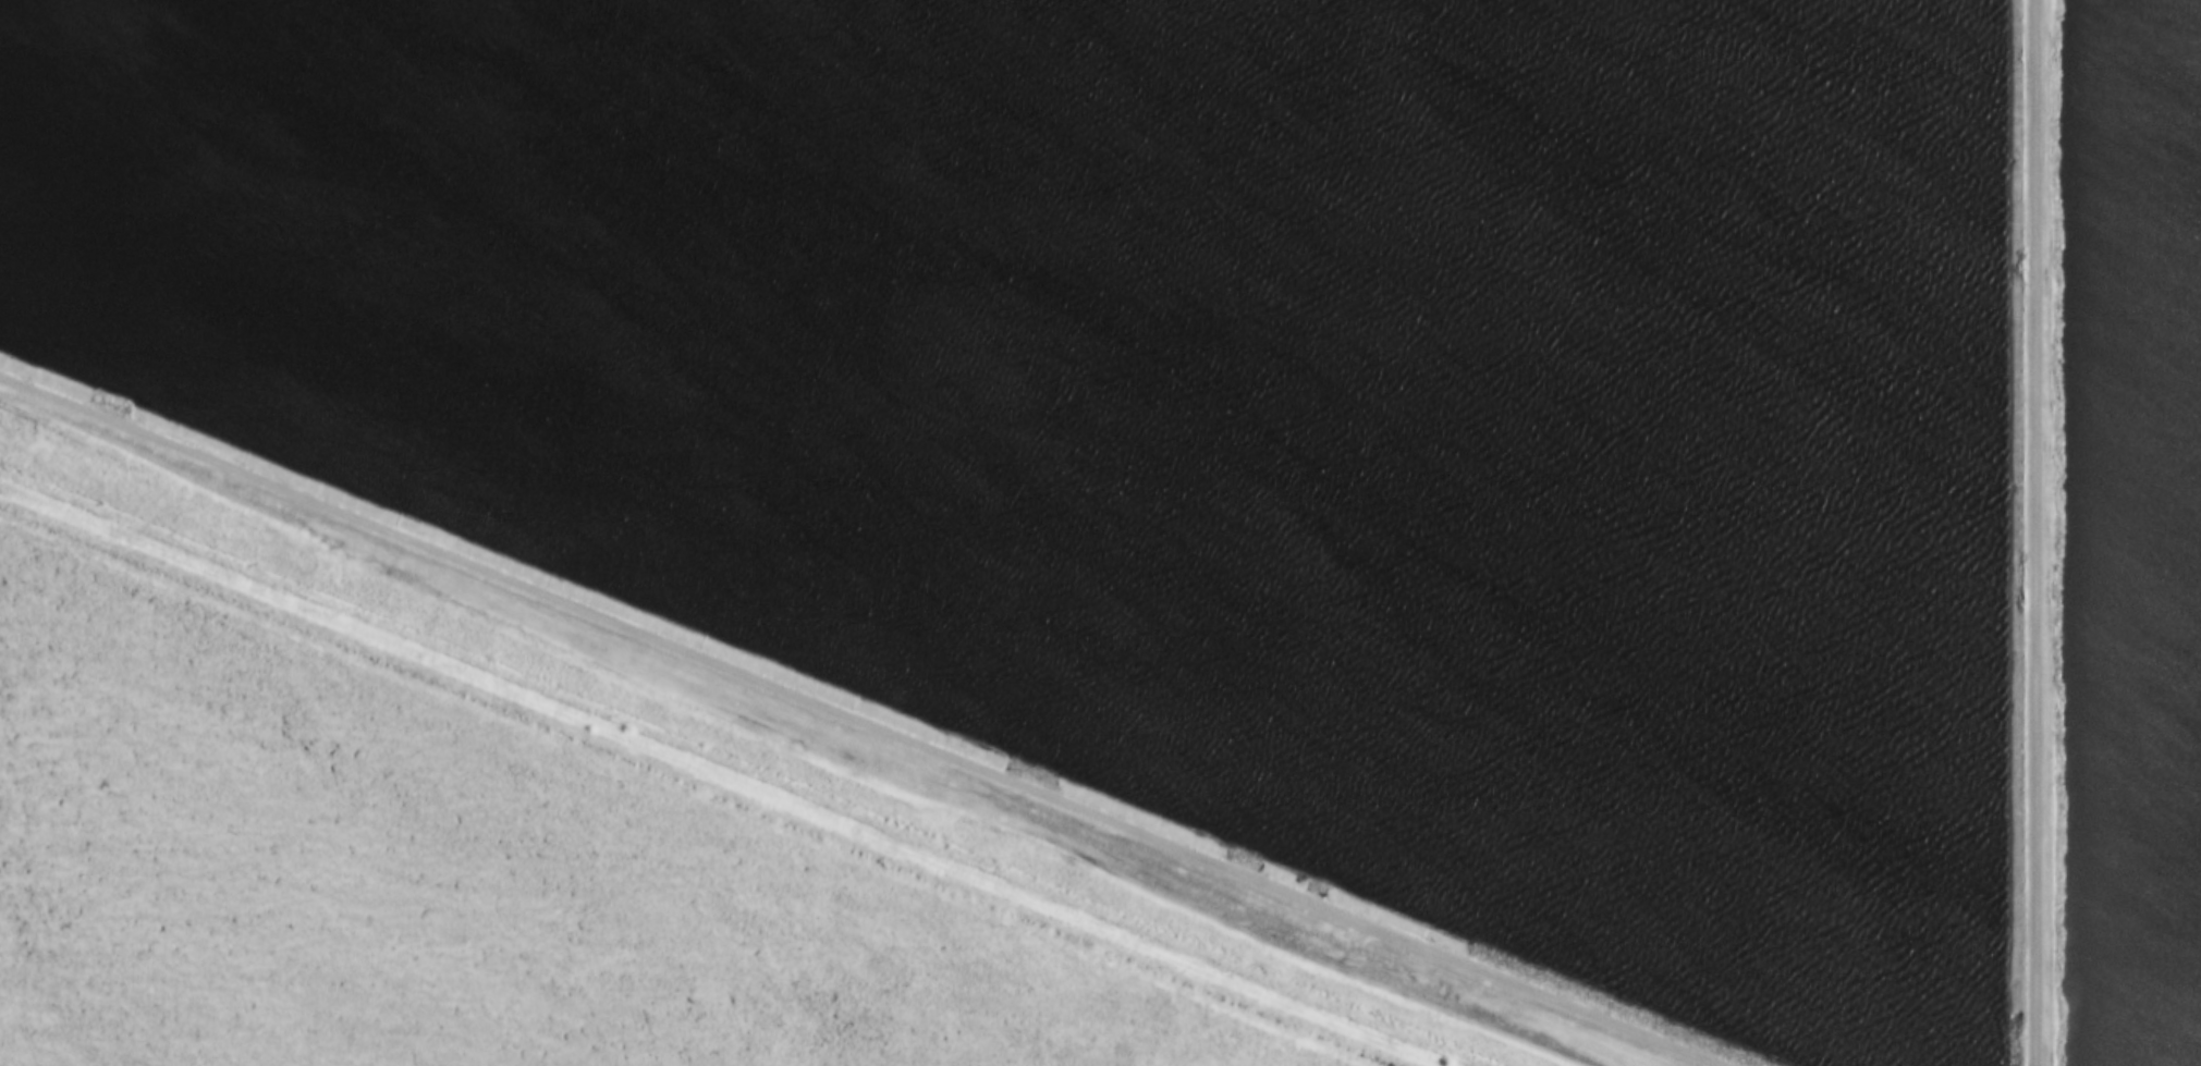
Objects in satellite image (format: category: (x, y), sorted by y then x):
road: (2042, 532)
road: (851, 720)
airport: (530, 848)

